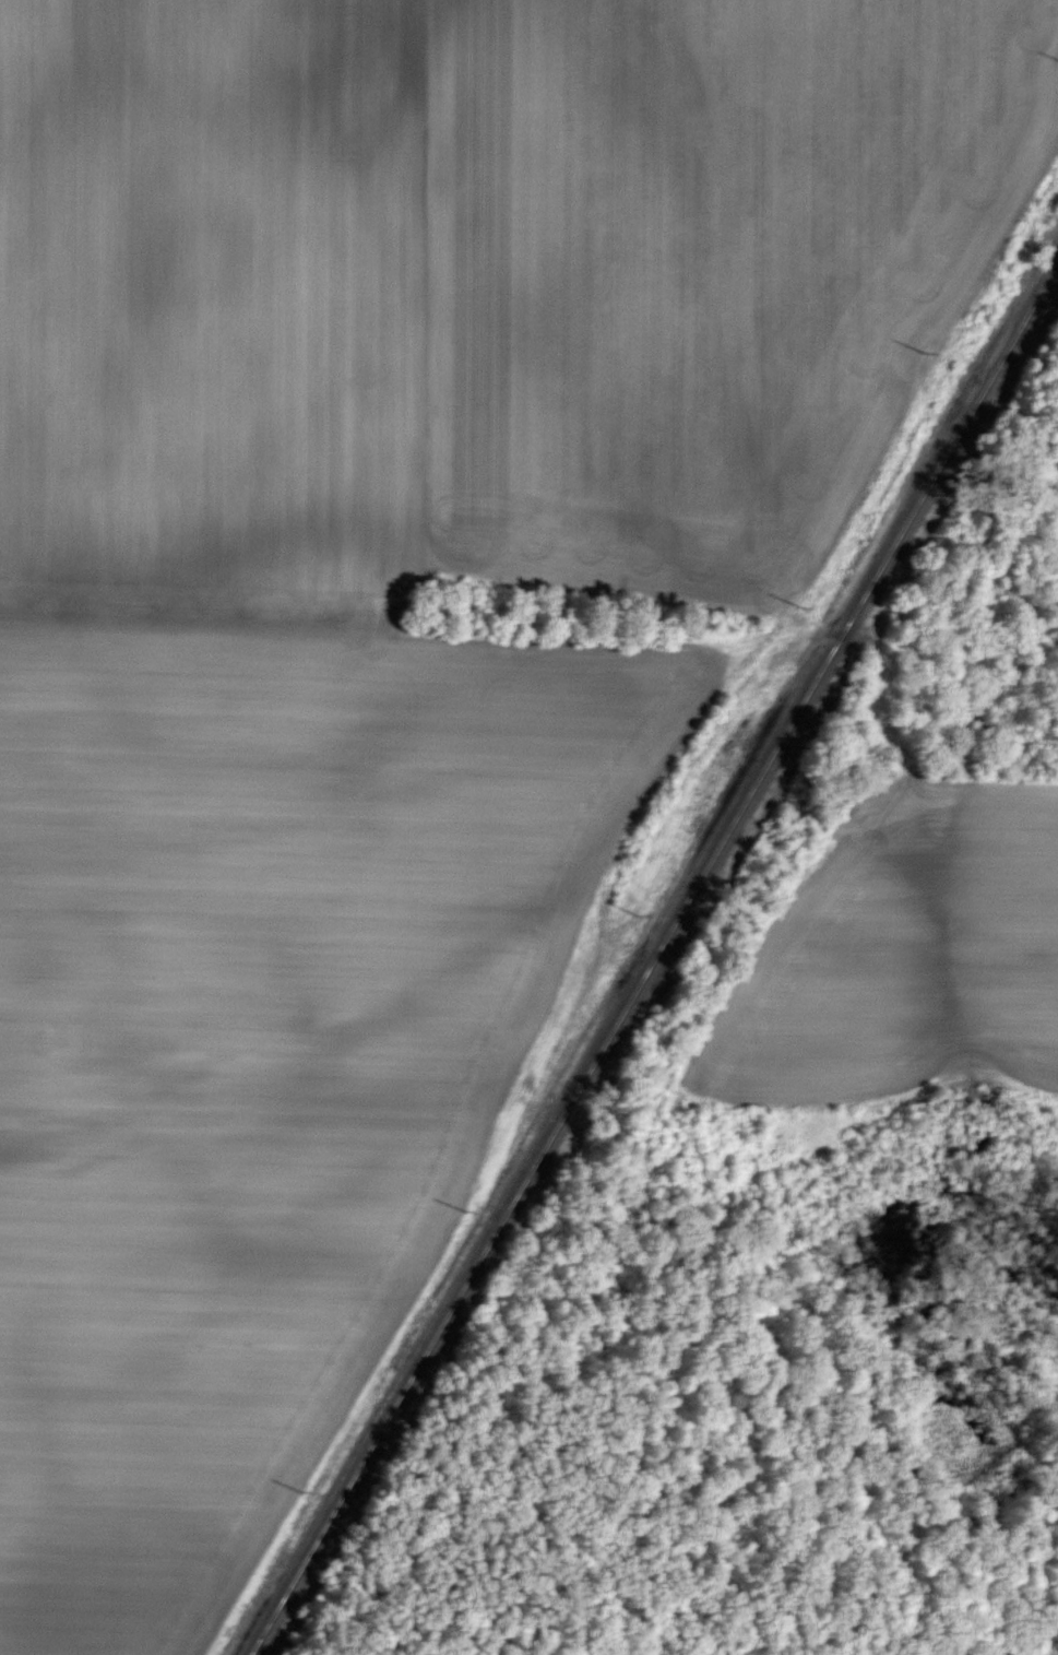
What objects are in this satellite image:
railway: (659, 956)

